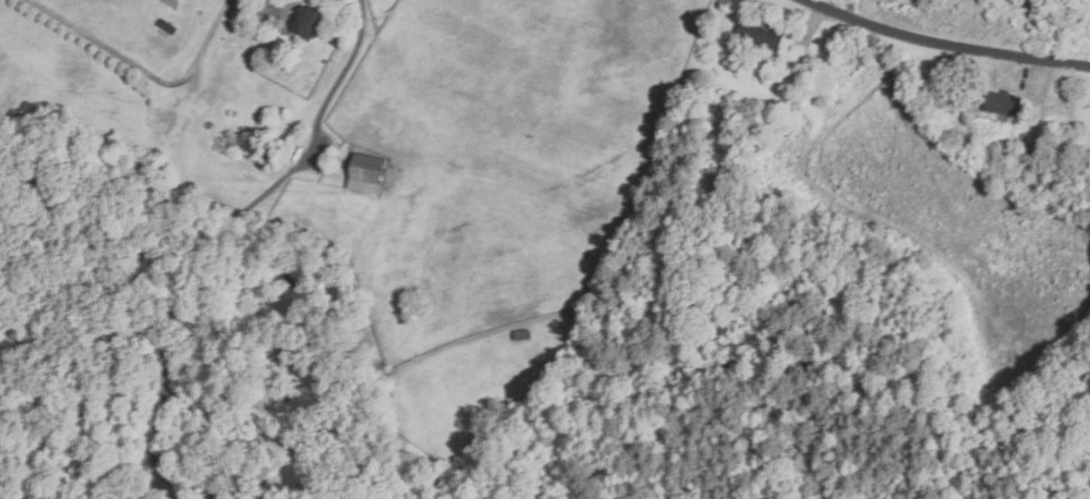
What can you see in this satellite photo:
road: (266, 2)
building: (308, 22)
building: (168, 27)
building: (760, 37)
road: (946, 48)
road: (137, 73)
building: (1003, 104)
building: (366, 173)
building: (705, 190)
road: (219, 236)
building: (523, 336)

